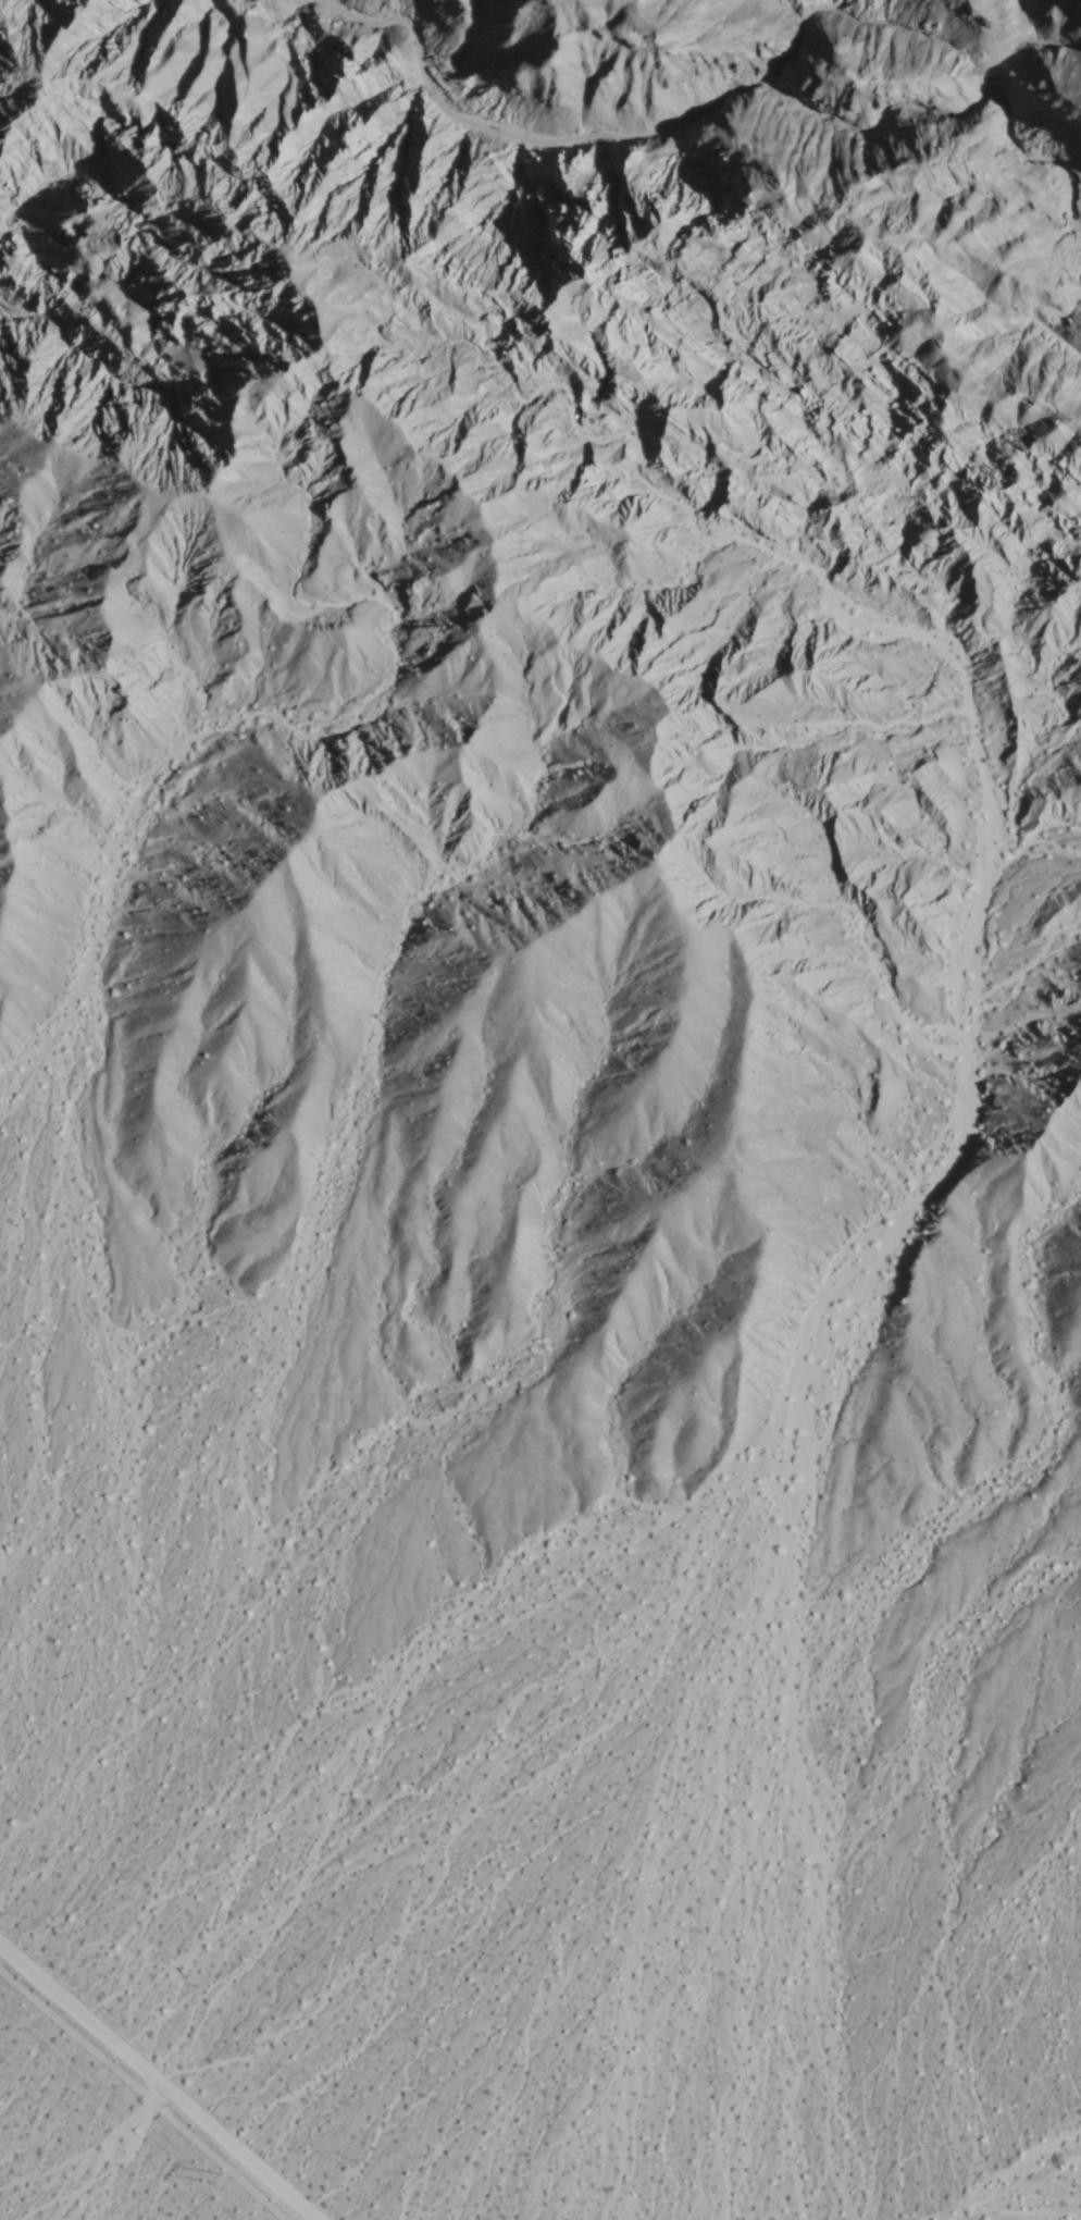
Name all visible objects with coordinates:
road: (164, 2076)
power tower: (224, 2180)

